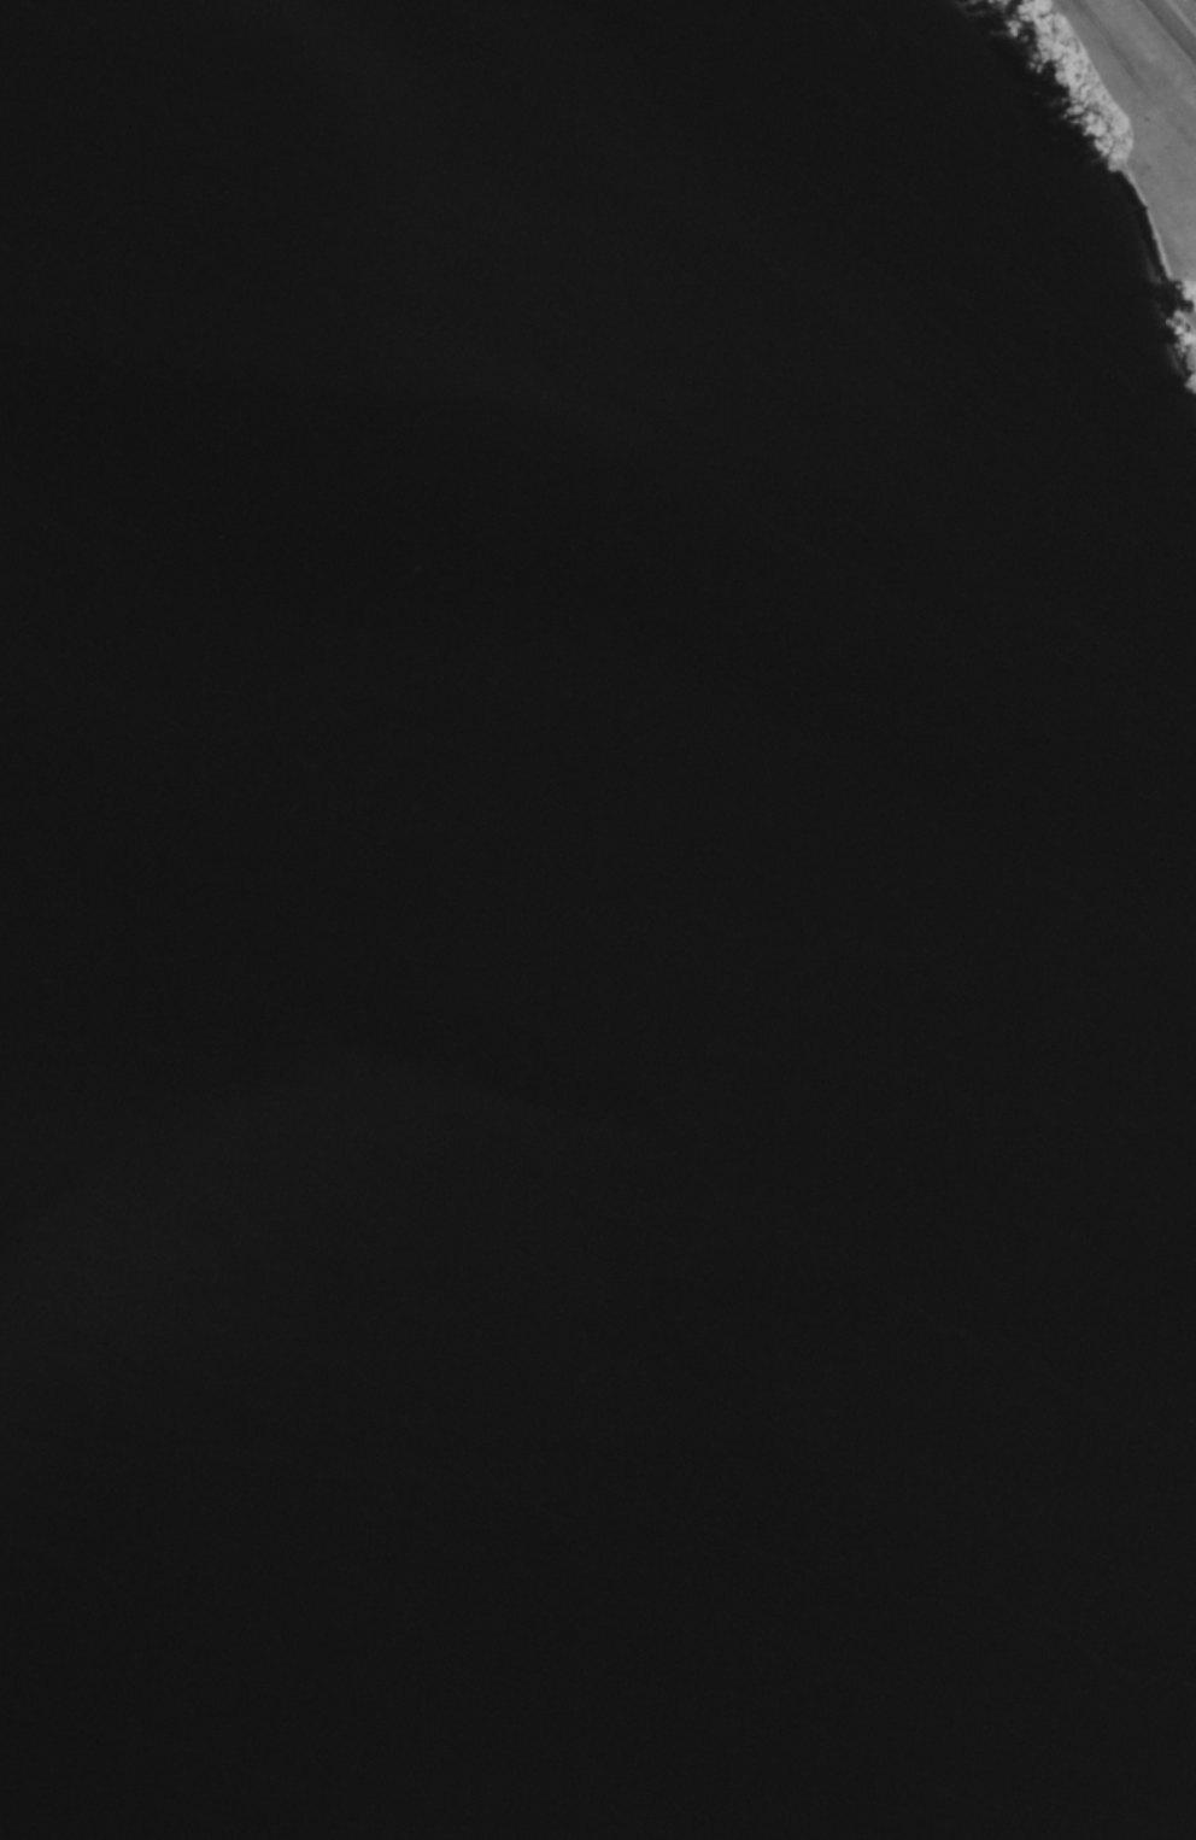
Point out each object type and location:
road: (1176, 23)
river: (598, 1235)

